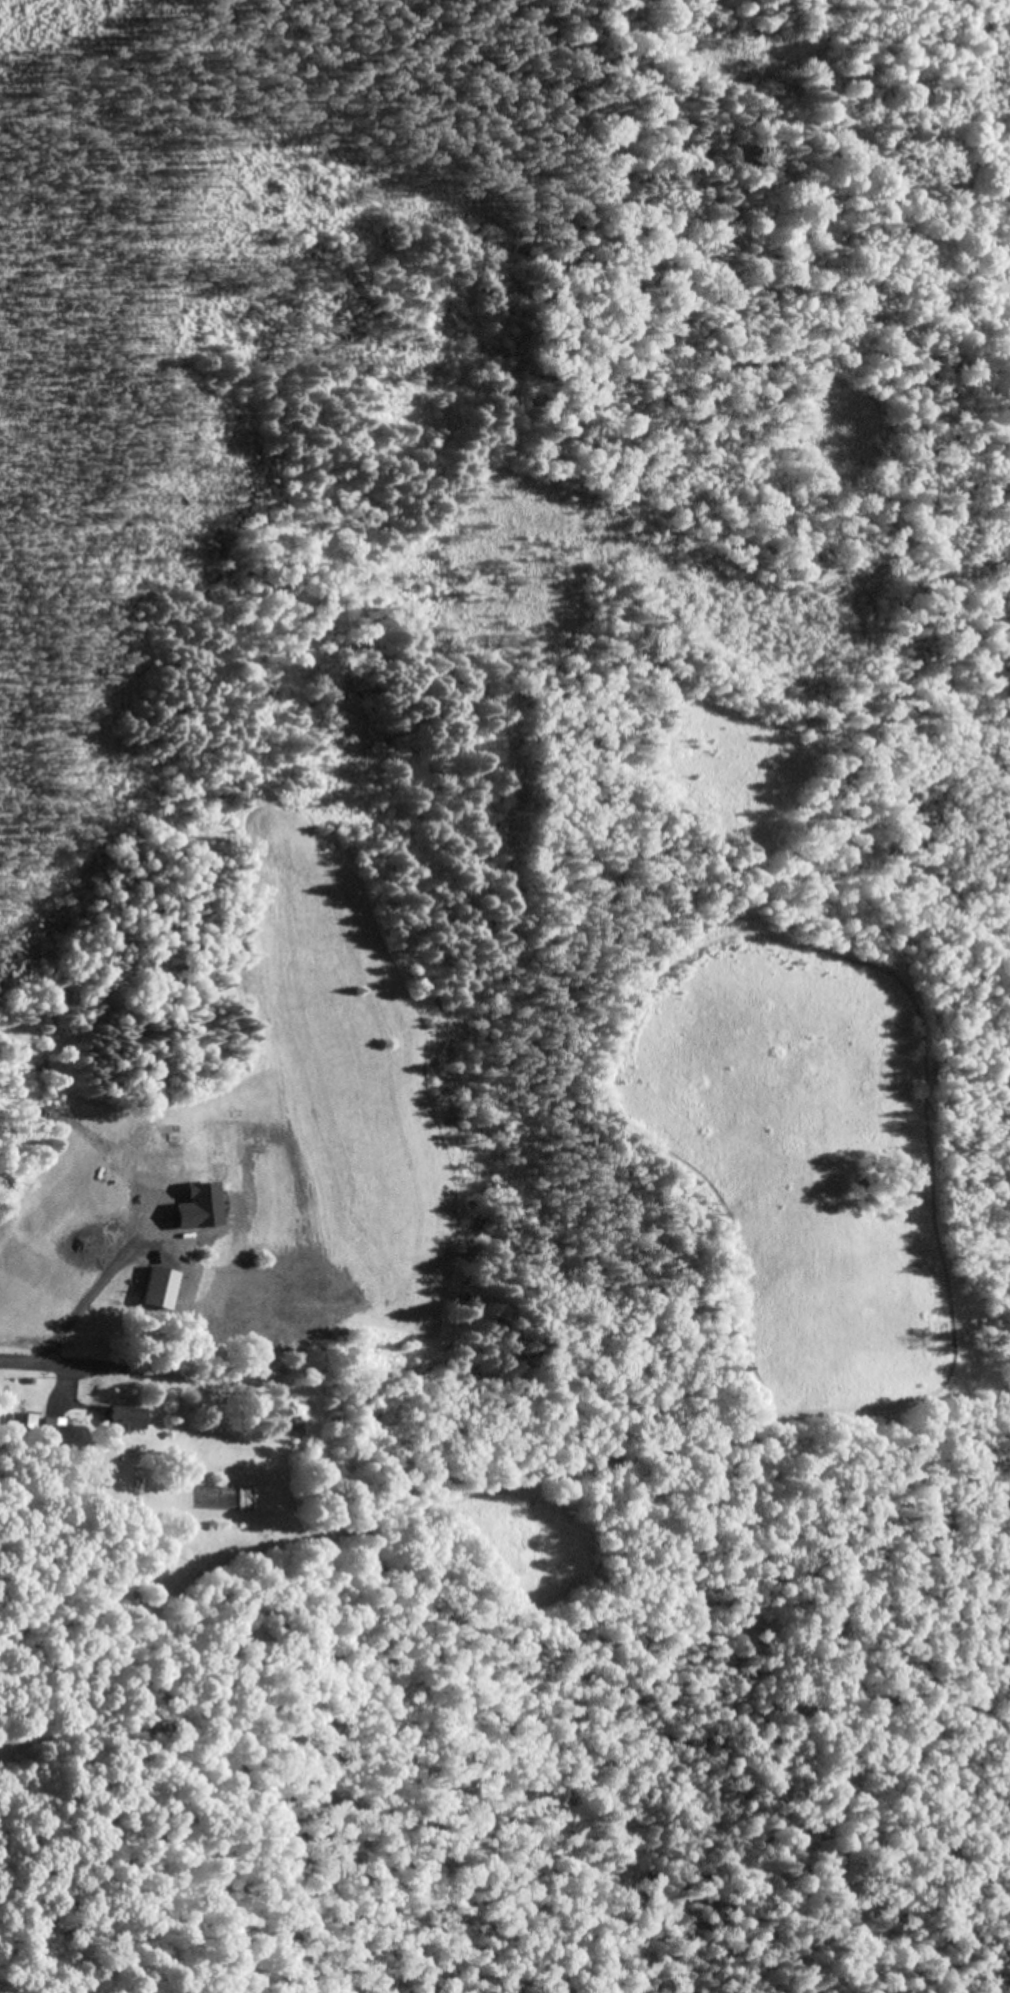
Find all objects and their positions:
road: (86, 1363)
building: (128, 1420)
building: (25, 1427)
building: (54, 1436)

